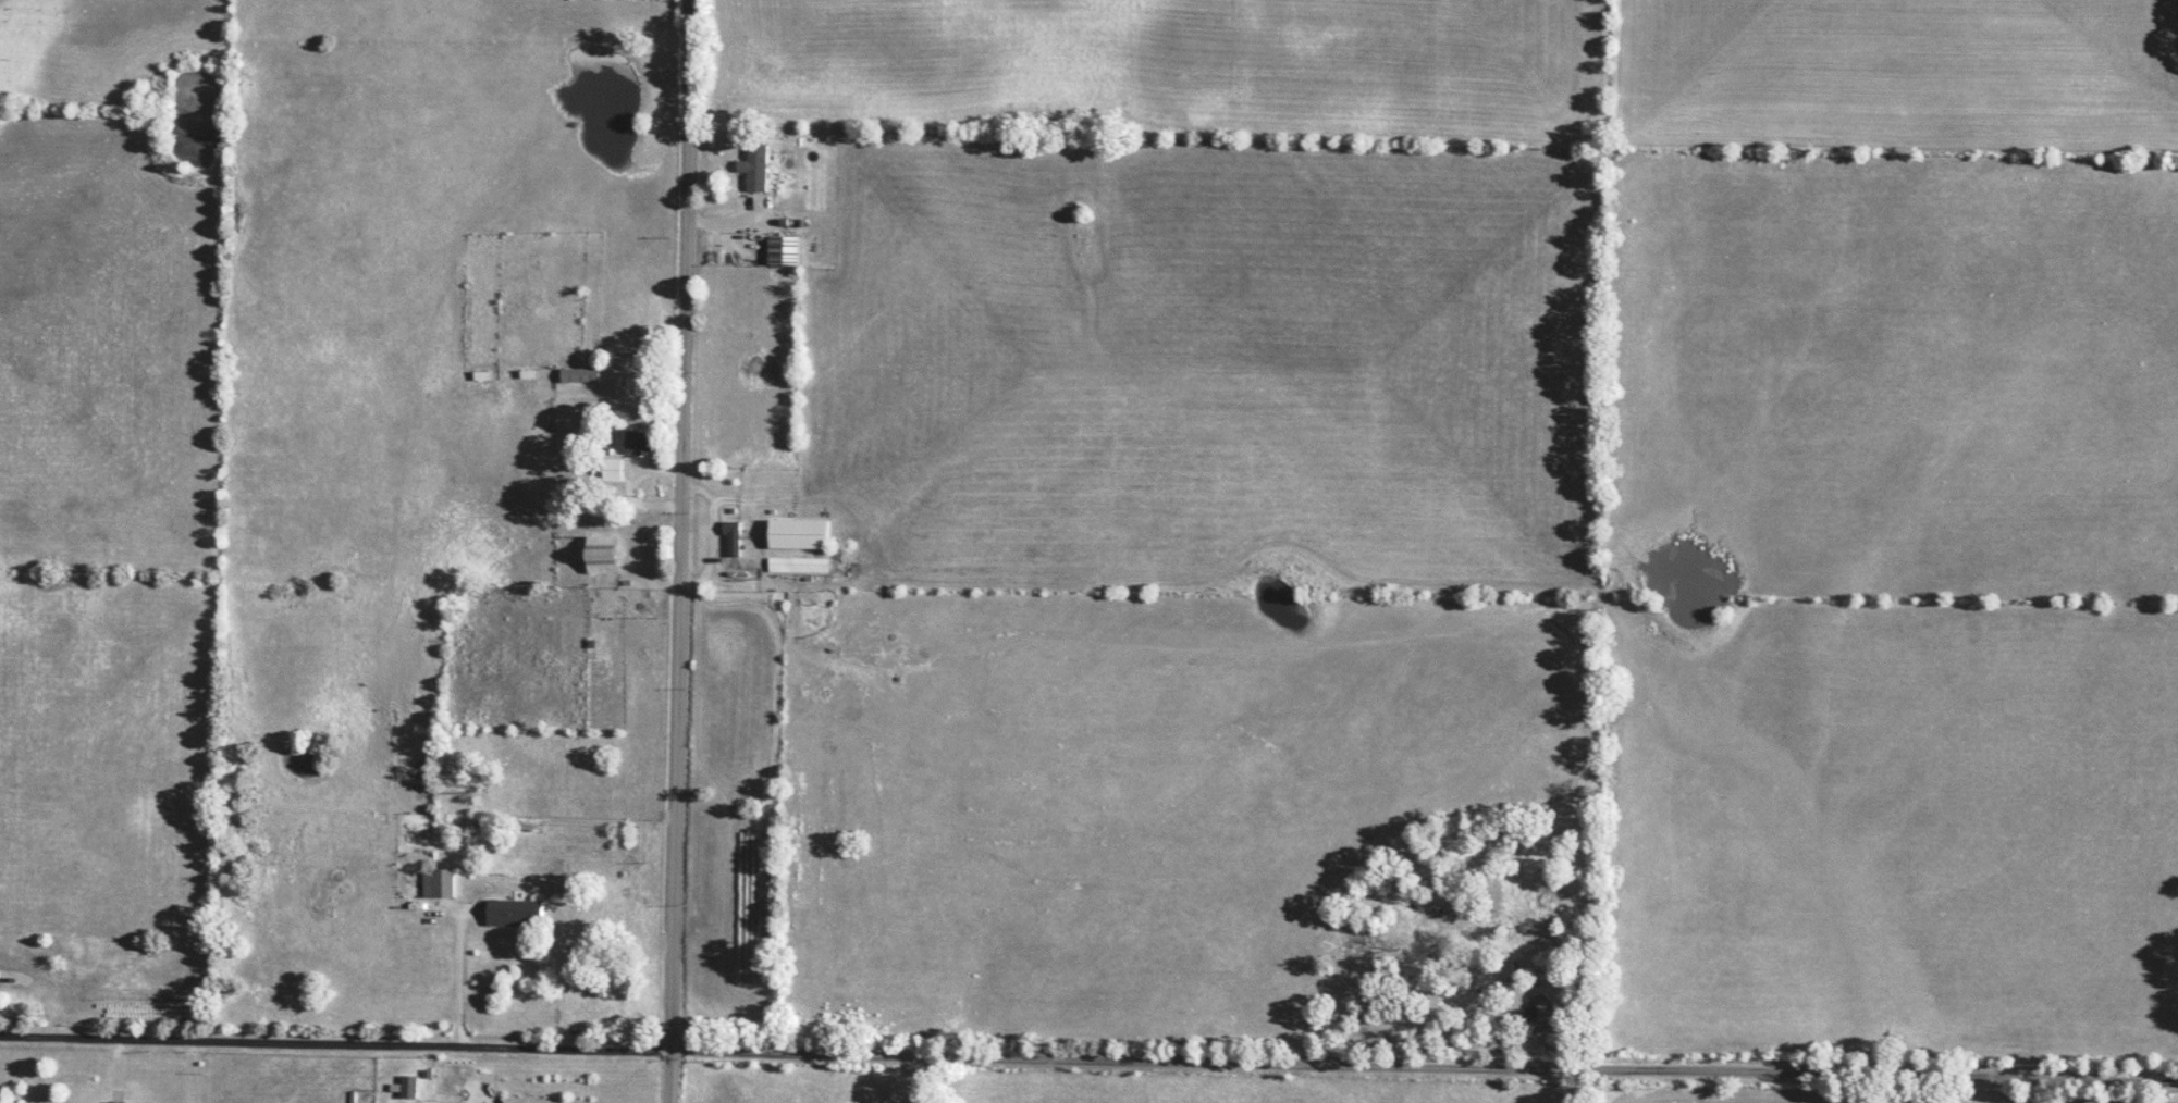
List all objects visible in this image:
building: (754, 170)
building: (580, 376)
building: (640, 445)
building: (798, 534)
building: (730, 540)
road: (688, 551)
building: (601, 555)
building: (797, 566)
building: (443, 884)
building: (514, 914)
road: (466, 970)
road: (1088, 1064)
road: (193, 1073)
building: (408, 1087)
building: (114, 1102)

